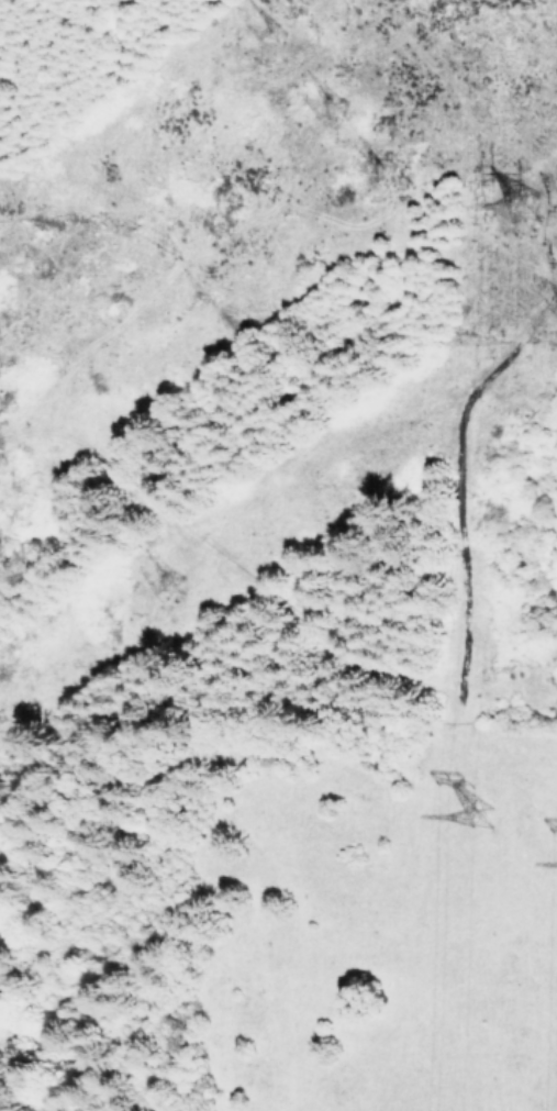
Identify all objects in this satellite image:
power tower: (285, 47)
power tower: (352, 125)
power tower: (402, 201)
power tower: (530, 213)
power tower: (186, 604)
power tower: (482, 819)

